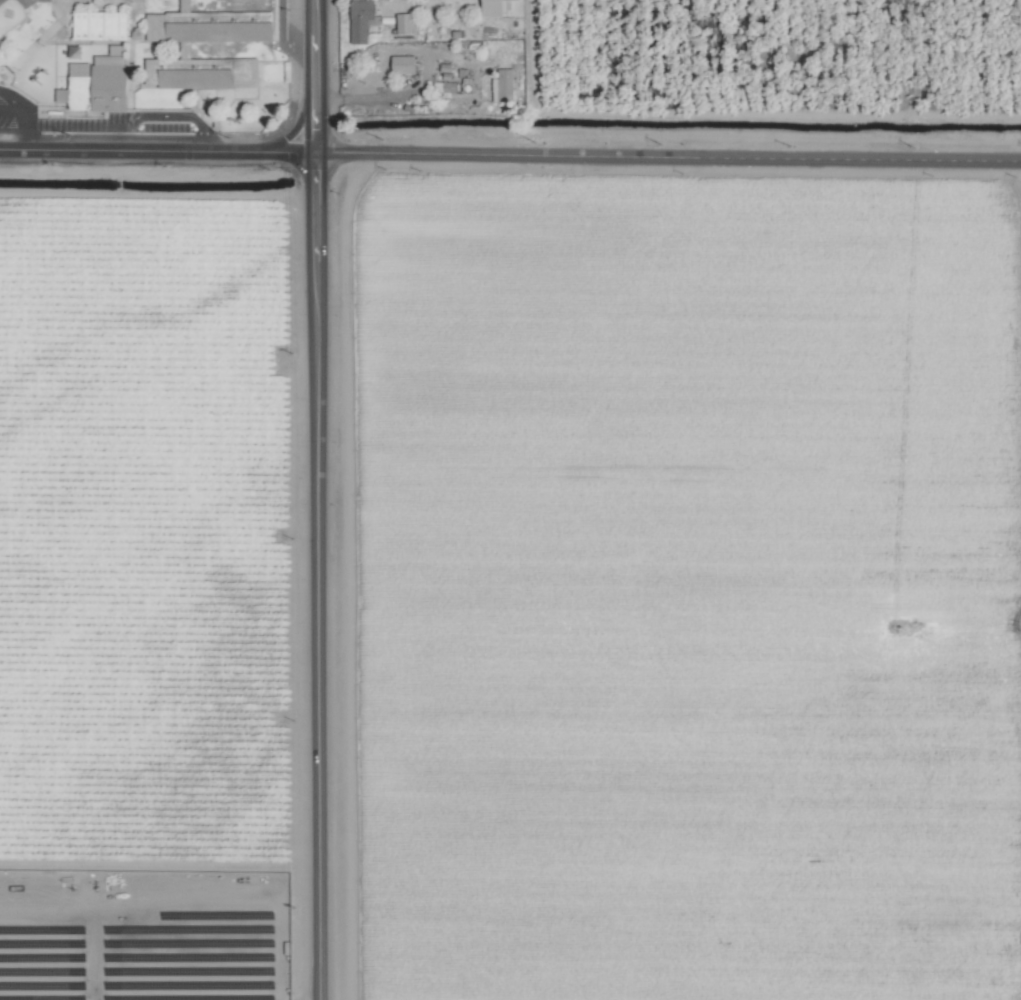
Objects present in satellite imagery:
building: (360, 19)
building: (404, 22)
building: (99, 25)
building: (155, 25)
building: (403, 63)
building: (99, 82)
building: (503, 85)
road: (25, 116)
road: (510, 154)
road: (316, 499)
crop: (510, 500)

